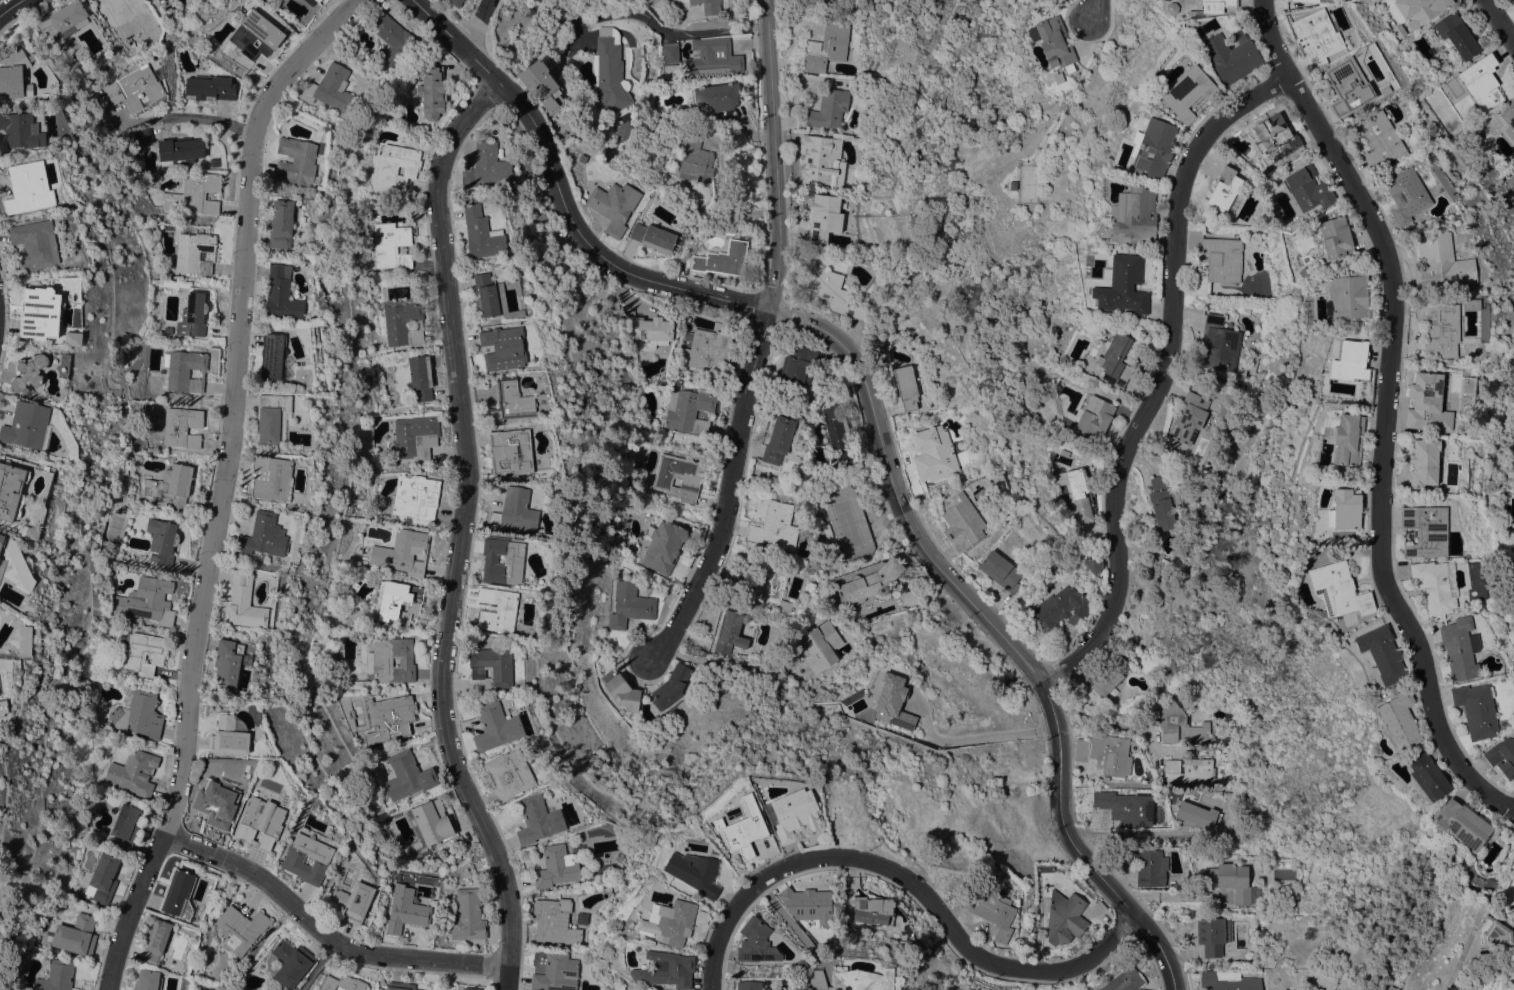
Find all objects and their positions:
building: (157, 0)
building: (159, 0)
building: (317, 0)
building: (320, 0)
building: (829, 0)
building: (1305, 1)
building: (456, 2)
building: (709, 6)
building: (1212, 7)
building: (116, 8)
road: (12, 9)
building: (1420, 9)
road: (1090, 10)
building: (63, 20)
road: (1498, 22)
road: (480, 27)
building: (1399, 31)
road: (664, 33)
building: (256, 35)
building: (1315, 37)
building: (1456, 37)
building: (393, 38)
building: (1054, 42)
building: (828, 46)
building: (670, 53)
building: (1231, 56)
building: (711, 57)
building: (609, 71)
building: (14, 75)
building: (1482, 82)
building: (541, 84)
building: (139, 86)
building: (1347, 86)
building: (209, 88)
building: (330, 88)
building: (432, 92)
building: (1187, 92)
building: (716, 98)
building: (828, 108)
building: (1508, 119)
road: (196, 121)
building: (21, 130)
building: (624, 131)
building: (1478, 132)
building: (142, 136)
building: (1274, 138)
building: (1376, 138)
building: (859, 143)
building: (1152, 148)
building: (180, 150)
road: (773, 151)
building: (296, 161)
building: (695, 161)
building: (821, 161)
building: (396, 165)
building: (486, 166)
building: (1513, 166)
road: (553, 167)
building: (28, 187)
building: (1224, 189)
building: (1308, 189)
building: (194, 194)
building: (1405, 195)
building: (613, 205)
building: (1135, 215)
building: (824, 216)
building: (281, 224)
building: (723, 228)
building: (481, 233)
building: (653, 237)
building: (1335, 237)
building: (34, 243)
building: (392, 245)
building: (194, 252)
building: (1221, 258)
building: (720, 260)
building: (1440, 263)
building: (1123, 286)
building: (831, 291)
building: (281, 294)
building: (1348, 295)
building: (492, 297)
road: (739, 299)
building: (1469, 305)
building: (41, 313)
building: (196, 313)
building: (402, 321)
building: (1440, 330)
building: (648, 331)
building: (73, 338)
building: (1218, 344)
building: (503, 348)
building: (706, 349)
building: (272, 356)
building: (1117, 358)
building: (1353, 361)
building: (797, 365)
building: (185, 370)
building: (29, 373)
road: (1161, 376)
building: (420, 377)
building: (1316, 382)
building: (906, 387)
building: (510, 402)
building: (1425, 403)
building: (690, 411)
road: (1384, 413)
building: (1093, 416)
building: (272, 417)
building: (1188, 418)
building: (28, 425)
building: (180, 426)
building: (837, 433)
building: (415, 436)
building: (1347, 439)
building: (778, 441)
building: (511, 451)
building: (933, 453)
building: (1422, 462)
building: (271, 477)
building: (678, 477)
road: (220, 483)
building: (170, 486)
building: (12, 490)
road: (728, 490)
building: (1078, 495)
building: (415, 497)
building: (1161, 502)
building: (1344, 509)
building: (514, 511)
building: (624, 513)
building: (962, 522)
building: (775, 526)
building: (826, 530)
building: (1423, 531)
building: (32, 533)
road: (460, 533)
building: (263, 536)
building: (2, 540)
building: (162, 541)
building: (662, 546)
building: (404, 552)
building: (362, 556)
building: (513, 559)
building: (1091, 561)
building: (999, 569)
building: (866, 583)
building: (765, 585)
building: (1435, 585)
building: (1337, 590)
building: (400, 599)
building: (147, 601)
building: (244, 602)
building: (629, 605)
building: (1059, 608)
building: (497, 609)
road: (993, 631)
building: (729, 632)
building: (24, 640)
building: (818, 646)
building: (1459, 648)
building: (142, 652)
building: (1381, 654)
building: (378, 661)
building: (229, 663)
road: (719, 664)
building: (491, 667)
building: (1108, 677)
building: (670, 687)
building: (623, 692)
building: (893, 702)
building: (3, 708)
building: (1476, 710)
building: (137, 714)
building: (387, 719)
building: (1398, 720)
road: (1114, 724)
building: (1177, 724)
building: (495, 727)
road: (995, 735)
building: (229, 736)
building: (1081, 750)
building: (1110, 755)
building: (1502, 756)
building: (133, 772)
building: (1189, 773)
building: (407, 775)
building: (1426, 776)
building: (522, 777)
building: (1104, 778)
building: (194, 791)
building: (219, 802)
building: (1125, 808)
building: (794, 814)
building: (1197, 816)
building: (537, 820)
building: (432, 821)
building: (259, 822)
building: (1461, 823)
building: (123, 828)
building: (747, 830)
building: (425, 856)
building: (319, 858)
building: (1512, 865)
building: (1146, 866)
building: (556, 867)
building: (694, 872)
building: (1513, 873)
building: (103, 878)
building: (1229, 880)
road: (906, 883)
building: (178, 895)
building: (352, 901)
building: (808, 906)
building: (872, 910)
building: (406, 911)
building: (994, 913)
building: (467, 915)
building: (701, 917)
building: (581, 918)
building: (1063, 919)
building: (554, 921)
building: (669, 922)
building: (240, 930)
building: (1491, 933)
building: (73, 935)
building: (1213, 935)
road: (325, 937)
building: (157, 941)
building: (755, 942)
building: (290, 963)
road: (316, 965)
building: (801, 965)
road: (1455, 968)
building: (666, 970)
building: (556, 973)
building: (56, 976)
building: (852, 979)
building: (147, 980)
building: (1124, 980)
building: (1224, 980)
building: (342, 983)
building: (748, 985)
building: (400, 986)
building: (469, 988)
building: (967, 989)

